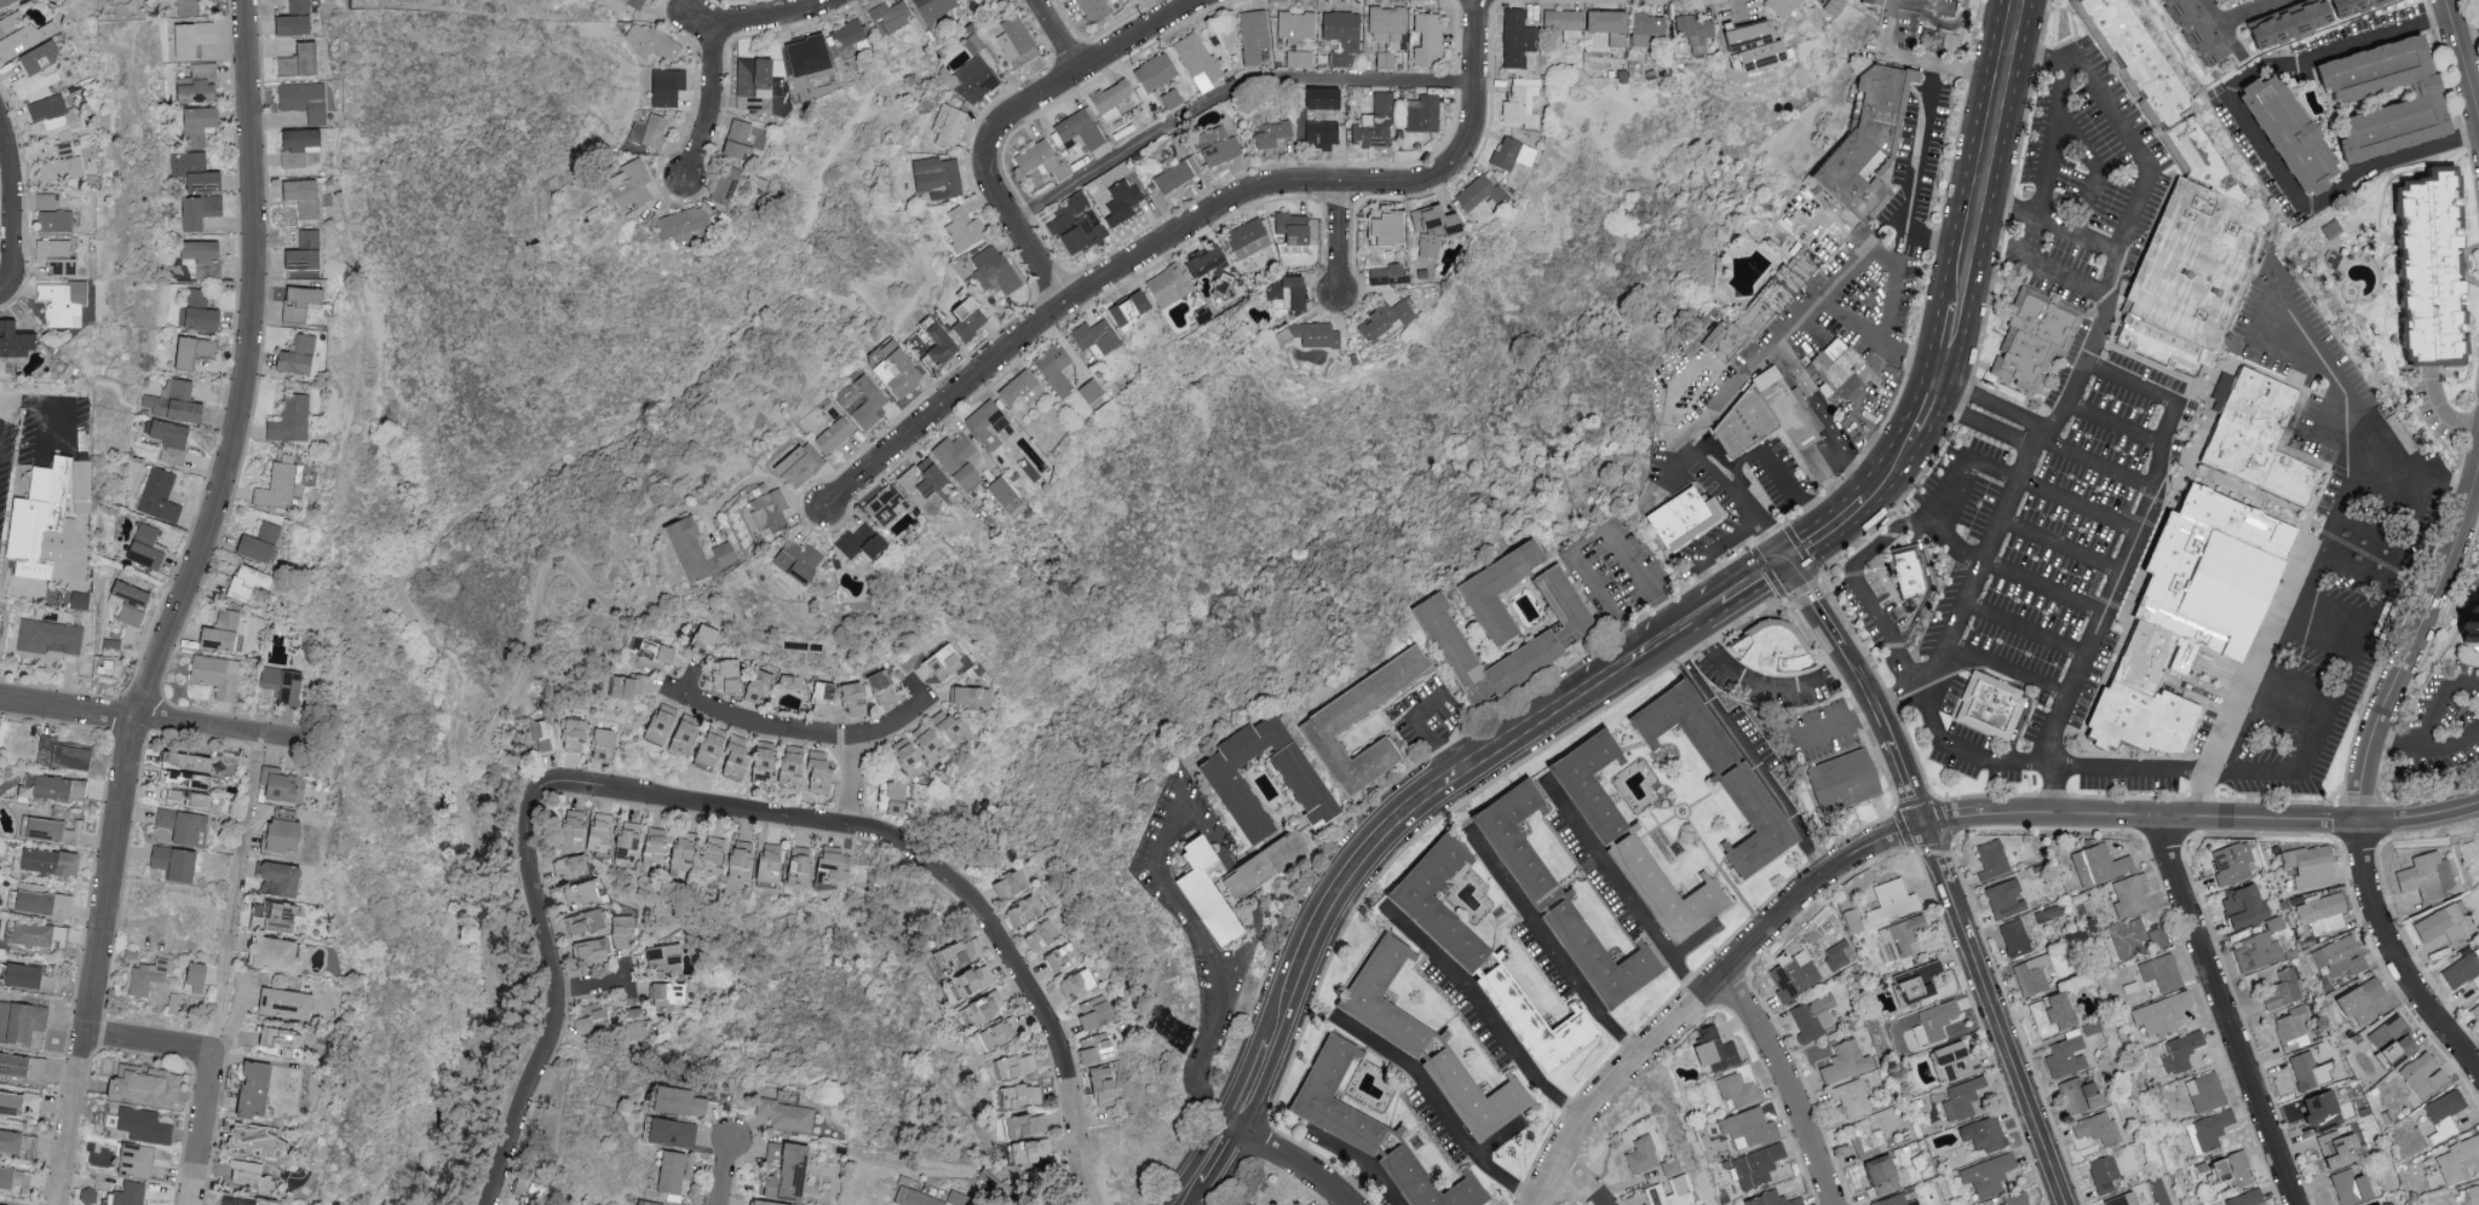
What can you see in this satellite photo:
building: (655, 0)
building: (1128, 0)
building: (1879, 1)
building: (8, 2)
building: (637, 2)
road: (2262, 2)
building: (299, 6)
building: (1784, 6)
building: (2352, 6)
building: (190, 7)
building: (1834, 7)
road: (1917, 7)
building: (1097, 10)
road: (2249, 11)
building: (892, 17)
building: (11, 21)
road: (766, 22)
building: (1388, 24)
building: (1565, 24)
building: (297, 25)
building: (1296, 25)
road: (2222, 25)
building: (1614, 27)
building: (2287, 27)
building: (1649, 29)
building: (2192, 30)
building: (1696, 31)
road: (2467, 33)
building: (1344, 35)
building: (1255, 36)
building: (25, 38)
building: (195, 38)
road: (1057, 39)
building: (1519, 39)
building: (847, 40)
building: (1431, 40)
building: (654, 42)
building: (1018, 42)
building: (1942, 46)
building: (805, 50)
road: (2036, 54)
road: (2462, 54)
building: (1197, 57)
building: (1300, 59)
building: (301, 60)
building: (1386, 60)
road: (1915, 62)
building: (39, 69)
building: (1157, 71)
road: (2089, 77)
building: (200, 85)
building: (668, 87)
road: (1227, 91)
building: (2158, 93)
building: (306, 100)
building: (1114, 103)
building: (1385, 103)
building: (1523, 103)
building: (2411, 103)
road: (712, 105)
building: (1425, 114)
road: (1019, 115)
building: (201, 123)
building: (53, 126)
building: (949, 126)
building: (1081, 129)
building: (1322, 131)
building: (651, 132)
road: (2244, 132)
building: (1275, 133)
building: (1371, 136)
building: (2284, 136)
building: (740, 137)
building: (300, 146)
building: (1221, 146)
building: (1873, 148)
road: (1985, 152)
building: (1042, 158)
building: (63, 165)
road: (2093, 171)
building: (197, 172)
building: (1178, 175)
building: (938, 177)
road: (1911, 181)
building: (634, 185)
building: (727, 185)
building: (1483, 194)
building: (306, 197)
road: (27, 202)
building: (1123, 202)
road: (11, 204)
building: (201, 212)
building: (56, 221)
building: (685, 224)
building: (1077, 224)
building: (1387, 225)
building: (966, 229)
building: (1296, 229)
building: (1436, 229)
road: (1185, 231)
building: (1249, 238)
road: (1340, 240)
building: (307, 252)
building: (58, 258)
building: (206, 258)
building: (1213, 261)
road: (1893, 267)
building: (995, 269)
road: (2046, 271)
building: (2421, 272)
building: (1788, 275)
building: (1390, 276)
road: (2113, 278)
building: (2196, 281)
building: (1169, 286)
road: (6, 289)
building: (1292, 292)
building: (64, 302)
building: (303, 302)
building: (1134, 309)
building: (200, 313)
building: (970, 316)
building: (1386, 322)
building: (1319, 335)
building: (1098, 336)
road: (1949, 338)
building: (17, 340)
building: (2036, 341)
building: (943, 347)
road: (2285, 348)
building: (196, 352)
building: (300, 356)
building: (1057, 369)
road: (2329, 369)
building: (902, 370)
building: (1840, 371)
building: (1022, 391)
building: (1092, 391)
road: (1733, 392)
road: (1967, 397)
road: (1931, 400)
building: (177, 402)
building: (870, 403)
road: (27, 404)
road: (2437, 414)
road: (1, 415)
road: (1959, 415)
building: (291, 419)
building: (1785, 419)
road: (1828, 419)
road: (54, 425)
building: (993, 425)
building: (1741, 426)
road: (2113, 426)
road: (2318, 429)
building: (835, 436)
parking lot: (39, 438)
building: (173, 442)
building: (2264, 443)
building: (961, 460)
road: (1894, 463)
building: (801, 466)
road: (2096, 467)
building: (933, 478)
road: (2197, 479)
building: (81, 482)
building: (280, 484)
road: (1730, 485)
road: (2478, 486)
building: (160, 496)
building: (1007, 497)
road: (1867, 497)
building: (887, 506)
road: (1747, 506)
road: (2080, 507)
building: (771, 511)
building: (39, 519)
road: (1844, 519)
road: (215, 523)
building: (1689, 523)
road: (1772, 540)
building: (261, 542)
building: (864, 542)
road: (1722, 544)
road: (1805, 547)
road: (2060, 547)
building: (148, 548)
building: (691, 550)
road: (1961, 552)
building: (725, 553)
traffic signals: (1789, 559)
road: (1979, 560)
building: (800, 563)
road: (2128, 563)
road: (2383, 564)
parking lot: (1611, 573)
building: (1906, 575)
building: (251, 582)
road: (1755, 582)
road: (1857, 583)
road: (1640, 586)
road: (2303, 586)
building: (1492, 594)
road: (596, 596)
building: (131, 602)
road: (1604, 607)
road: (1709, 612)
building: (2186, 622)
road: (2023, 630)
building: (224, 632)
building: (708, 636)
building: (48, 638)
building: (2469, 641)
building: (1547, 642)
road: (1706, 644)
road: (2359, 646)
building: (113, 650)
road: (2414, 650)
building: (654, 652)
road: (1645, 655)
building: (1775, 655)
building: (947, 662)
road: (1837, 669)
road: (2003, 670)
building: (730, 674)
building: (219, 675)
building: (880, 681)
building: (286, 684)
parking lot: (1765, 684)
building: (631, 685)
building: (761, 685)
road: (1770, 688)
road: (697, 690)
building: (829, 690)
building: (972, 696)
building: (857, 698)
road: (2440, 698)
building: (1361, 700)
building: (1992, 710)
road: (161, 719)
parking lot: (1423, 721)
building: (665, 725)
road: (897, 725)
road: (1831, 725)
road: (759, 726)
building: (957, 727)
building: (1679, 727)
building: (543, 734)
building: (575, 734)
road: (1529, 734)
building: (690, 736)
parking lot: (1813, 737)
road: (1425, 739)
building: (934, 740)
road: (2394, 746)
road: (2449, 746)
building: (717, 749)
building: (64, 754)
road: (1962, 754)
building: (914, 756)
building: (190, 760)
building: (754, 761)
building: (795, 767)
building: (823, 772)
road: (2151, 772)
building: (179, 776)
road: (1759, 777)
building: (284, 784)
road: (853, 784)
building: (1847, 785)
building: (1586, 786)
building: (57, 788)
building: (1308, 792)
building: (893, 796)
building: (194, 797)
road: (2040, 813)
road: (2420, 817)
road: (2257, 820)
building: (184, 824)
building: (576, 824)
road: (1171, 826)
building: (1752, 826)
building: (53, 830)
building: (287, 832)
building: (600, 834)
building: (631, 842)
building: (1514, 846)
building: (657, 847)
building: (683, 849)
building: (717, 855)
building: (1989, 859)
building: (52, 861)
building: (177, 861)
building: (759, 861)
building: (2230, 861)
building: (2096, 864)
building: (2308, 865)
building: (803, 866)
road: (926, 867)
building: (1265, 867)
building: (835, 869)
road: (1943, 874)
building: (2423, 876)
building: (283, 878)
building: (1012, 883)
road: (1338, 890)
road: (236, 892)
road: (1618, 892)
building: (581, 893)
building: (1206, 893)
building: (1661, 894)
building: (2126, 895)
building: (2002, 898)
building: (1887, 901)
building: (45, 903)
building: (2239, 905)
building: (1025, 910)
building: (2320, 912)
building: (587, 922)
building: (2435, 924)
building: (1432, 928)
building: (626, 932)
building: (35, 933)
building: (62, 933)
building: (1041, 934)
building: (1897, 936)
building: (2012, 938)
building: (2134, 938)
road: (1547, 950)
building: (281, 952)
building: (594, 952)
building: (2255, 952)
building: (961, 953)
building: (1064, 957)
building: (2335, 957)
building: (668, 958)
road: (2391, 958)
building: (1594, 961)
road: (1235, 969)
building: (2460, 970)
building: (1790, 973)
building: (2157, 974)
building: (2029, 975)
building: (30, 976)
building: (150, 976)
building: (201, 978)
building: (1373, 978)
building: (973, 980)
building: (1081, 982)
building: (1909, 986)
road: (594, 987)
road: (1703, 987)
building: (2278, 990)
road: (559, 993)
building: (669, 996)
building: (2356, 1001)
building: (289, 1003)
building: (984, 1008)
road: (2227, 1010)
building: (1098, 1011)
building: (2474, 1011)
building: (2157, 1014)
building: (2048, 1015)
road: (1482, 1016)
building: (1811, 1016)
building: (592, 1017)
building: (22, 1020)
building: (635, 1024)
building: (1929, 1024)
building: (1531, 1025)
building: (2289, 1027)
building: (1000, 1032)
building: (283, 1037)
building: (2387, 1038)
road: (149, 1039)
building: (1098, 1048)
building: (1709, 1049)
building: (2178, 1050)
building: (2063, 1056)
road: (1202, 1059)
building: (1842, 1061)
building: (1950, 1061)
building: (1014, 1065)
building: (2302, 1069)
building: (2421, 1076)
road: (1788, 1082)
building: (146, 1085)
road: (1249, 1086)
building: (1736, 1086)
building: (1109, 1088)
building: (260, 1089)
building: (2203, 1091)
building: (1020, 1095)
building: (2075, 1095)
building: (1848, 1097)
building: (1957, 1099)
building: (1472, 1100)
building: (681, 1101)
building: (11, 1102)
building: (1329, 1102)
building: (34, 1103)
building: (2313, 1106)
road: (1437, 1109)
building: (788, 1114)
building: (2439, 1114)
road: (71, 1117)
building: (144, 1125)
building: (1026, 1125)
road: (201, 1128)
building: (1744, 1128)
building: (2094, 1128)
building: (2208, 1129)
building: (675, 1132)
building: (1980, 1134)
building: (1863, 1137)
building: (259, 1140)
building: (15, 1142)
building: (2334, 1148)
building: (1031, 1151)
building: (1639, 1154)
road: (1214, 1155)
building: (2457, 1159)
building: (140, 1160)
road: (1292, 1161)
building: (1754, 1165)
road: (1357, 1166)
building: (2228, 1169)
building: (790, 1170)
building: (673, 1172)
road: (726, 1172)
building: (1985, 1174)
building: (2101, 1174)
building: (254, 1175)
building: (1877, 1175)
building: (15, 1177)
building: (1421, 1184)
road: (1578, 1184)
road: (1352, 1186)
building: (2346, 1186)
road: (856, 1187)
building: (530, 1192)
road: (1191, 1193)
building: (1669, 1193)
building: (131, 1194)
building: (2468, 1195)
building: (2243, 1198)
building: (926, 1199)
building: (1767, 1199)
building: (2014, 1199)
building: (1893, 1200)
building: (238, 1201)
building: (772, 1203)
building: (1, 1204)
building: (649, 1204)
building: (1302, 1204)
building: (2371, 1204)
building: (2386, 1204)

